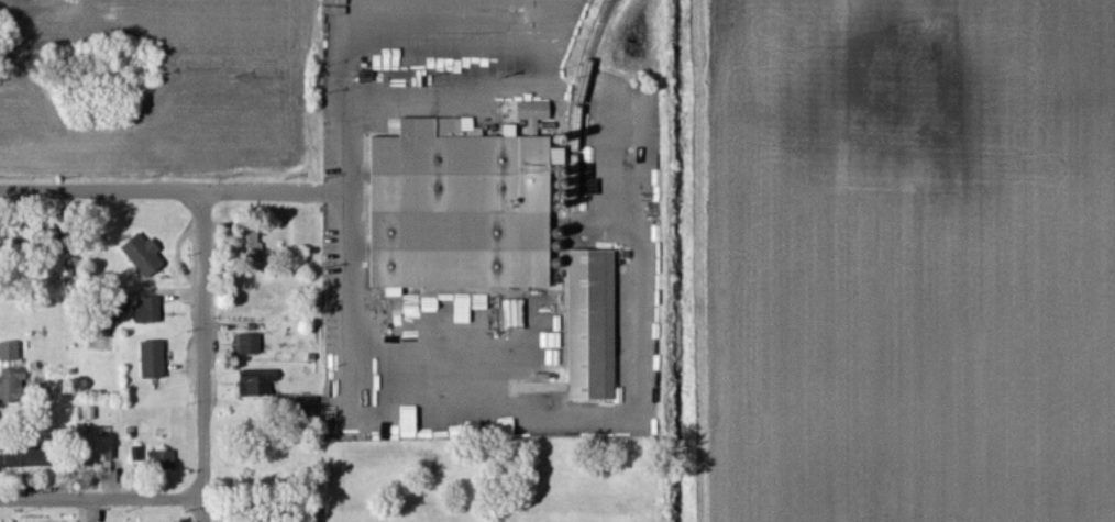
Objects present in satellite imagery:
railway: (583, 93)
building: (530, 111)
road: (159, 190)
building: (463, 208)
building: (247, 247)
building: (146, 255)
building: (151, 311)
building: (589, 327)
road: (351, 329)
building: (251, 344)
building: (11, 352)
road: (203, 356)
building: (154, 359)
building: (258, 385)
building: (14, 387)
building: (108, 448)
building: (139, 454)
building: (34, 457)
building: (163, 459)
road: (102, 499)

